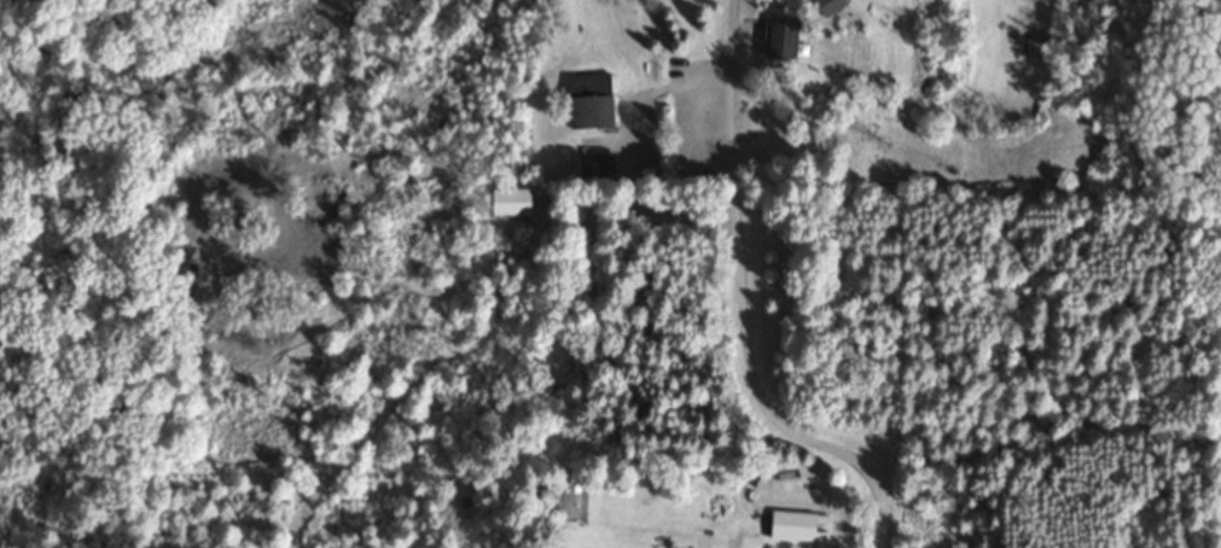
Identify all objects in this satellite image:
building: (537, 1)
building: (827, 6)
building: (778, 40)
building: (588, 99)
building: (594, 165)
building: (507, 200)
building: (790, 524)

